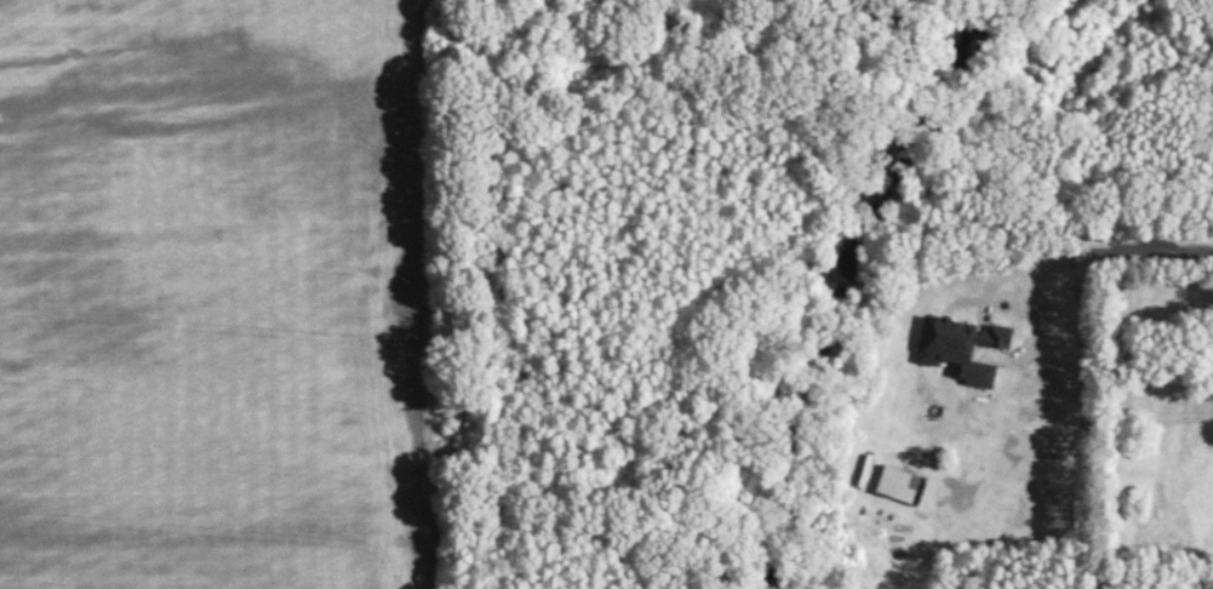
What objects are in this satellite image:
road: (1092, 236)
building: (960, 344)
building: (897, 481)

